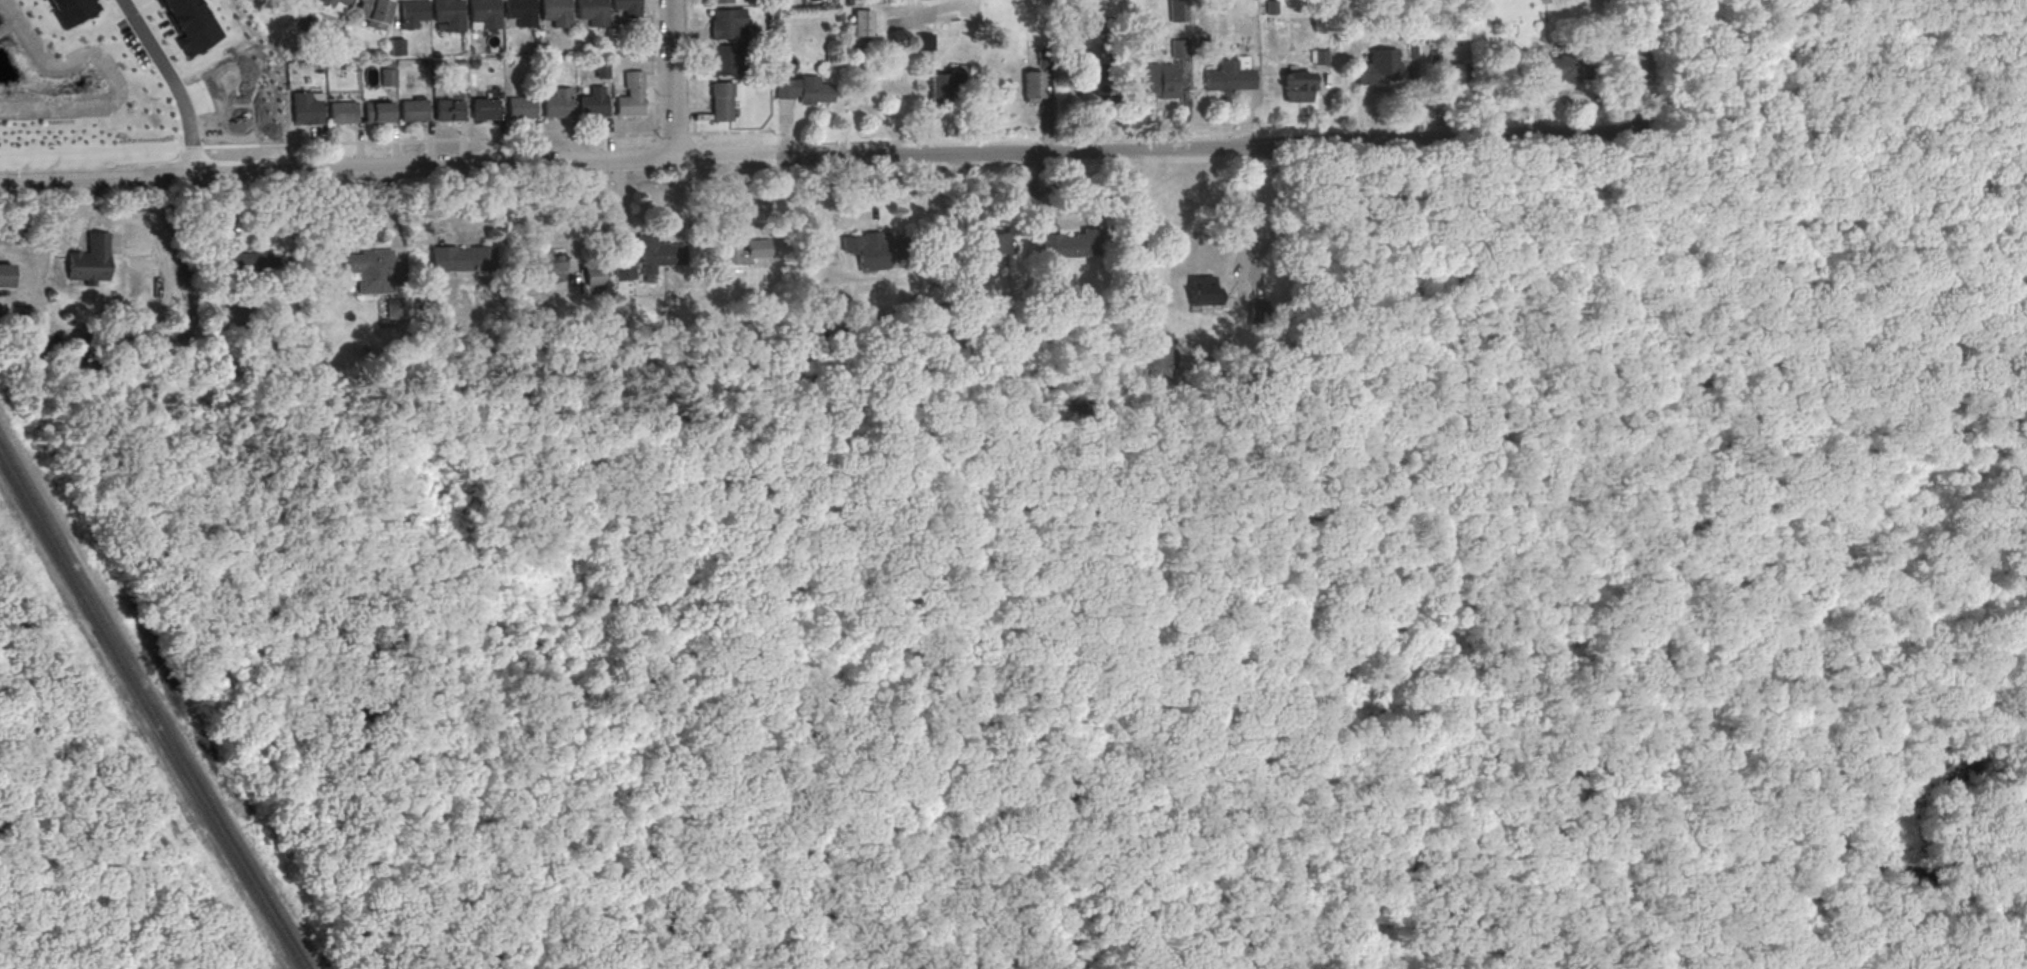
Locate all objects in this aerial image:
building: (720, 1)
building: (334, 5)
building: (628, 7)
building: (71, 10)
building: (593, 11)
building: (485, 12)
building: (521, 12)
building: (557, 12)
building: (375, 13)
building: (413, 13)
building: (449, 14)
building: (862, 22)
building: (190, 24)
building: (726, 24)
building: (924, 41)
building: (397, 46)
road: (1640, 48)
building: (1178, 50)
building: (1319, 57)
building: (727, 61)
road: (690, 67)
building: (1377, 67)
building: (601, 68)
building: (1563, 68)
building: (1448, 72)
building: (387, 76)
building: (1227, 77)
building: (1160, 79)
road: (672, 80)
road: (172, 82)
building: (1033, 85)
building: (1296, 86)
building: (940, 87)
building: (804, 89)
building: (629, 96)
building: (719, 102)
building: (556, 104)
building: (591, 106)
building: (304, 107)
building: (518, 107)
building: (483, 109)
building: (413, 110)
building: (447, 110)
building: (341, 112)
building: (377, 112)
road: (874, 113)
road: (1726, 118)
road: (529, 138)
road: (143, 147)
road: (1214, 147)
road: (1678, 155)
road: (1647, 159)
road: (383, 169)
parking lot: (1651, 174)
road: (442, 206)
road: (621, 206)
road: (228, 212)
road: (1663, 215)
road: (569, 225)
road: (393, 230)
road: (1224, 242)
building: (991, 243)
building: (1071, 245)
building: (872, 248)
building: (746, 252)
building: (656, 253)
building: (461, 260)
building: (90, 261)
building: (549, 262)
building: (261, 265)
building: (623, 266)
building: (368, 271)
building: (594, 275)
building: (5, 276)
building: (1203, 290)
building: (1152, 358)
road: (583, 534)
road: (1720, 563)
road: (1165, 578)
road: (531, 590)
building: (486, 632)
railway: (156, 704)
railway: (150, 714)
road: (1454, 797)

